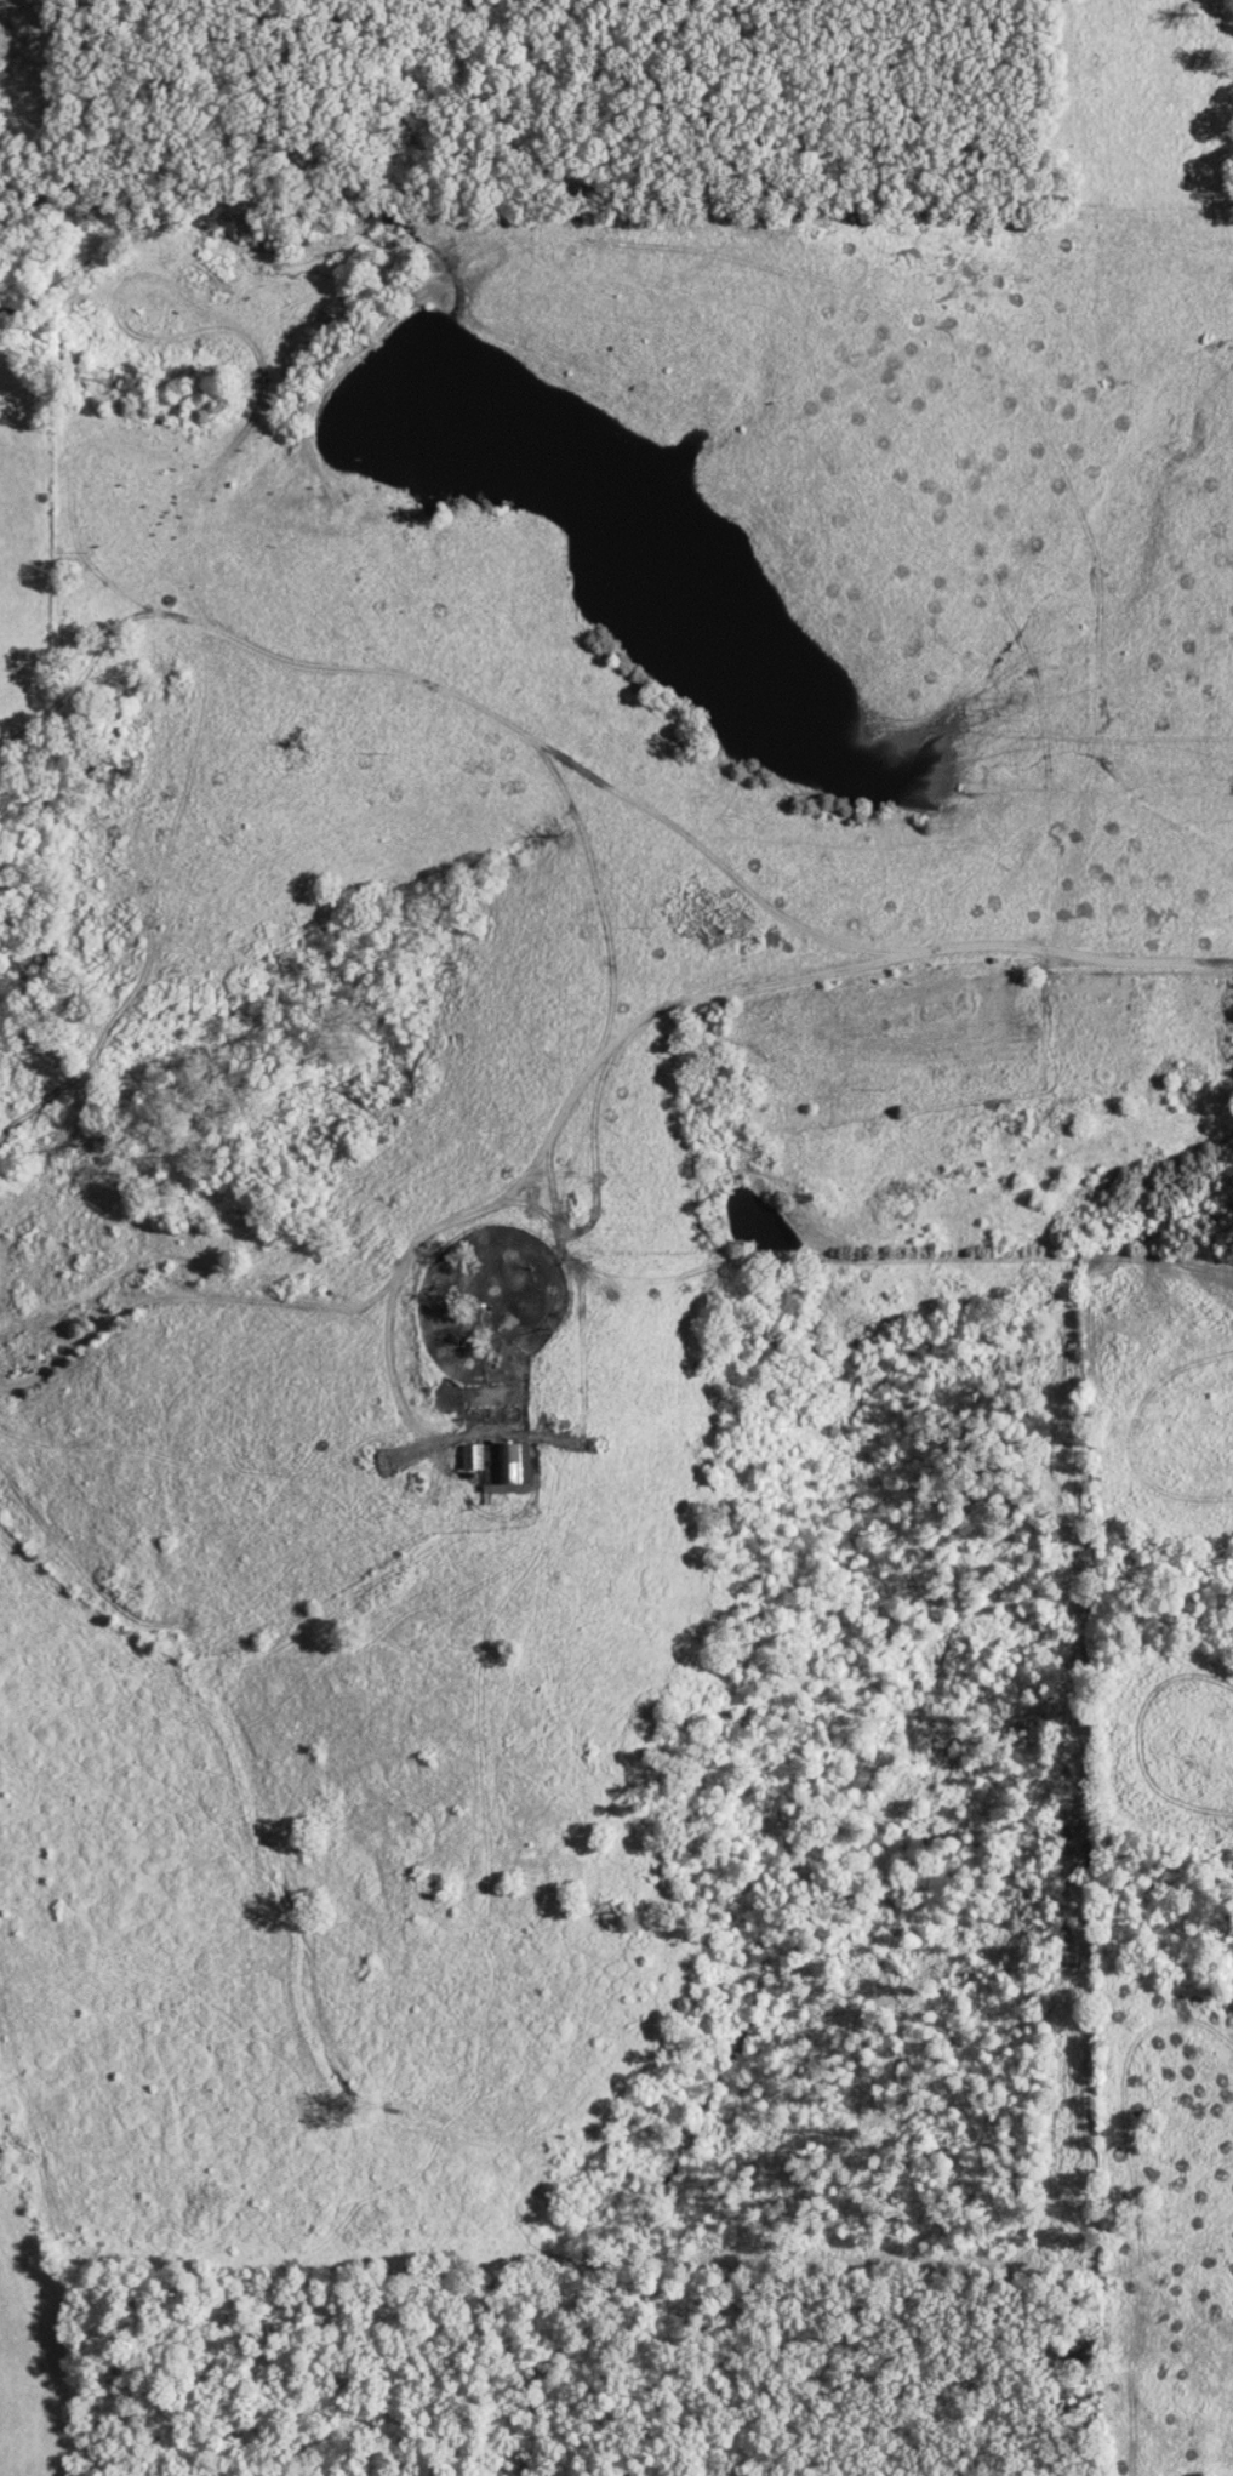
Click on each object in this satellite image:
road: (458, 700)
road: (578, 1094)
road: (398, 1359)
building: (498, 1467)

